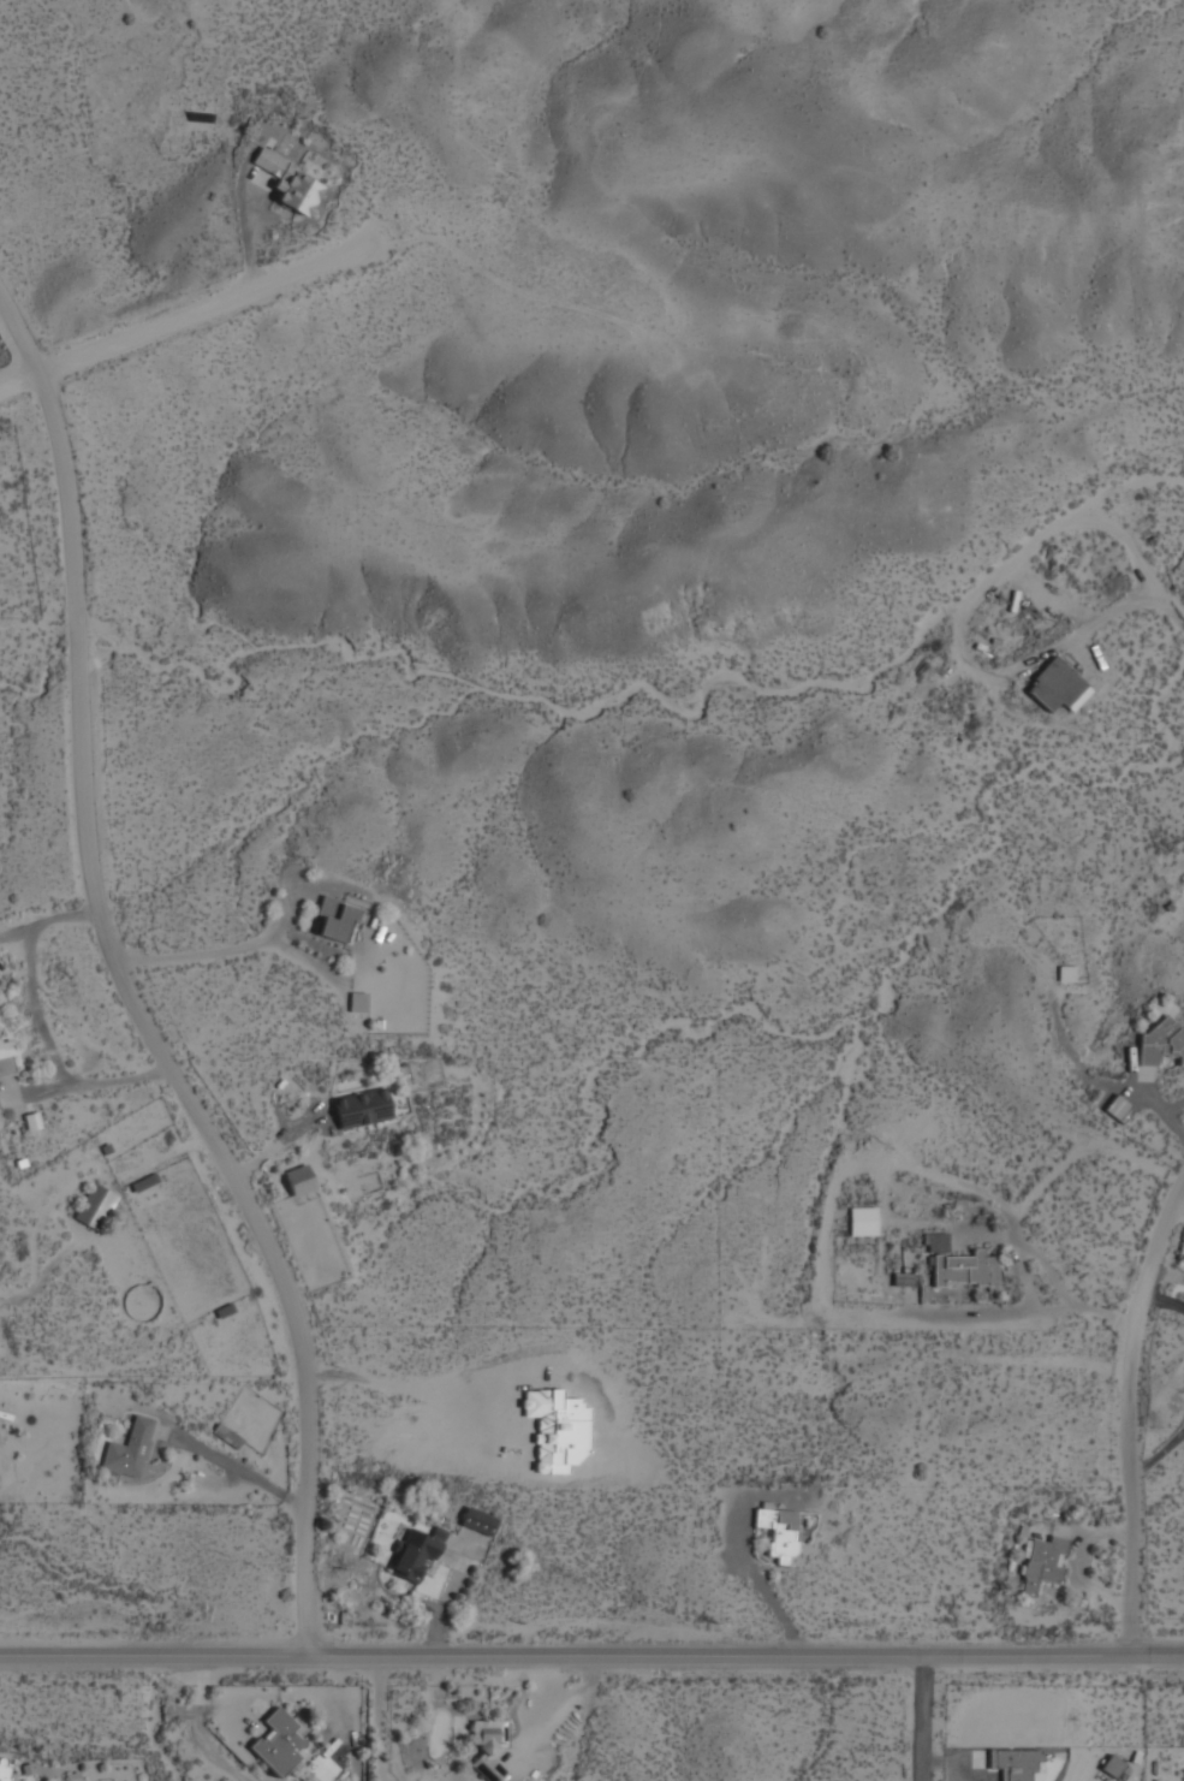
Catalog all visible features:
building: (290, 184)
road: (188, 313)
road: (1117, 606)
building: (1057, 687)
building: (335, 920)
road: (213, 952)
road: (136, 998)
building: (357, 1002)
road: (42, 1031)
building: (1159, 1044)
building: (6, 1058)
building: (362, 1109)
building: (1117, 1109)
building: (31, 1122)
building: (94, 1206)
building: (862, 1222)
building: (959, 1269)
road: (1052, 1272)
road: (1129, 1421)
building: (127, 1449)
building: (477, 1521)
building: (778, 1532)
building: (413, 1555)
building: (1042, 1563)
road: (591, 1660)
road: (381, 1720)
road: (928, 1722)
building: (278, 1743)
building: (489, 1746)
building: (322, 1768)
building: (4, 1771)

